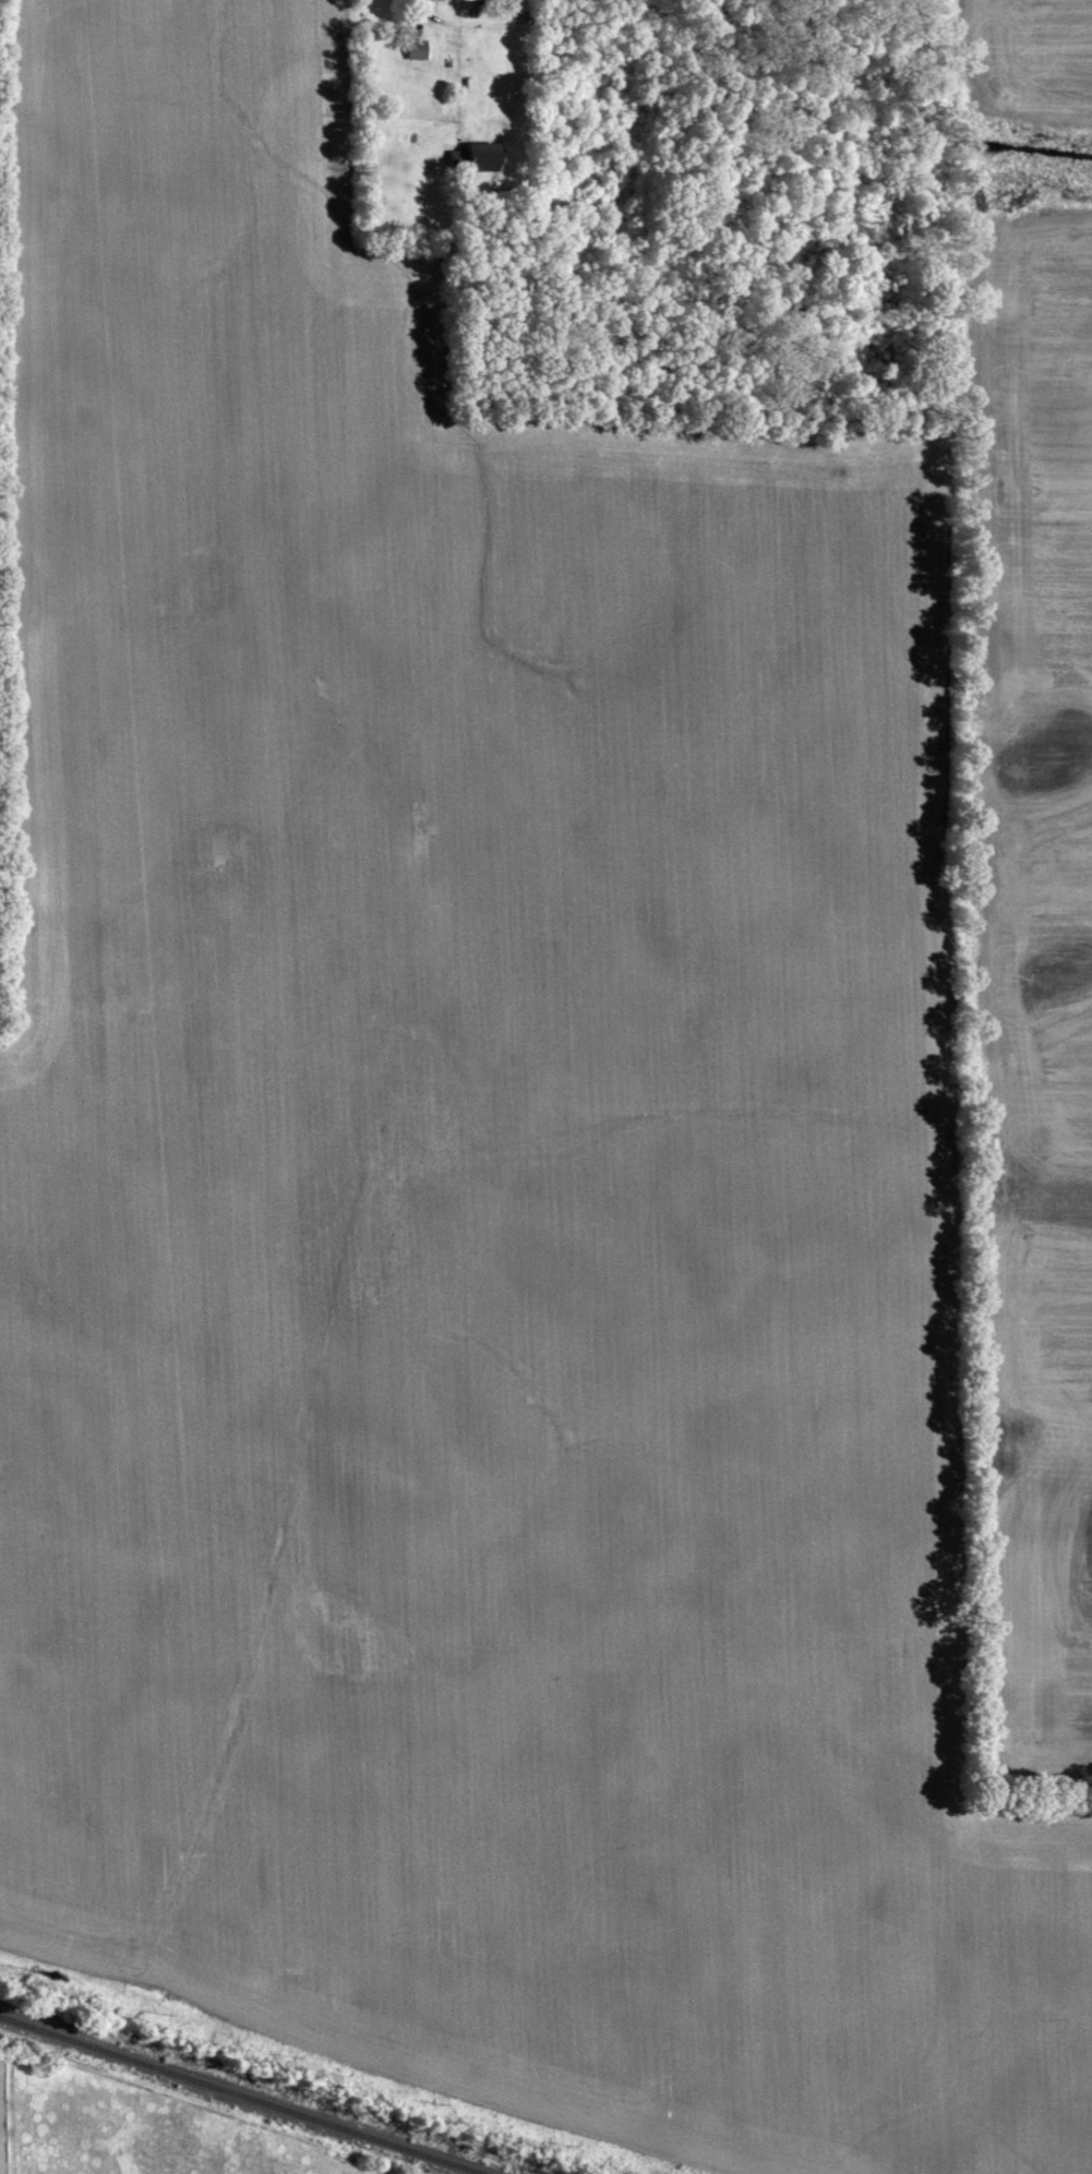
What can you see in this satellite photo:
building: (416, 48)
building: (483, 156)
railway: (239, 2095)

